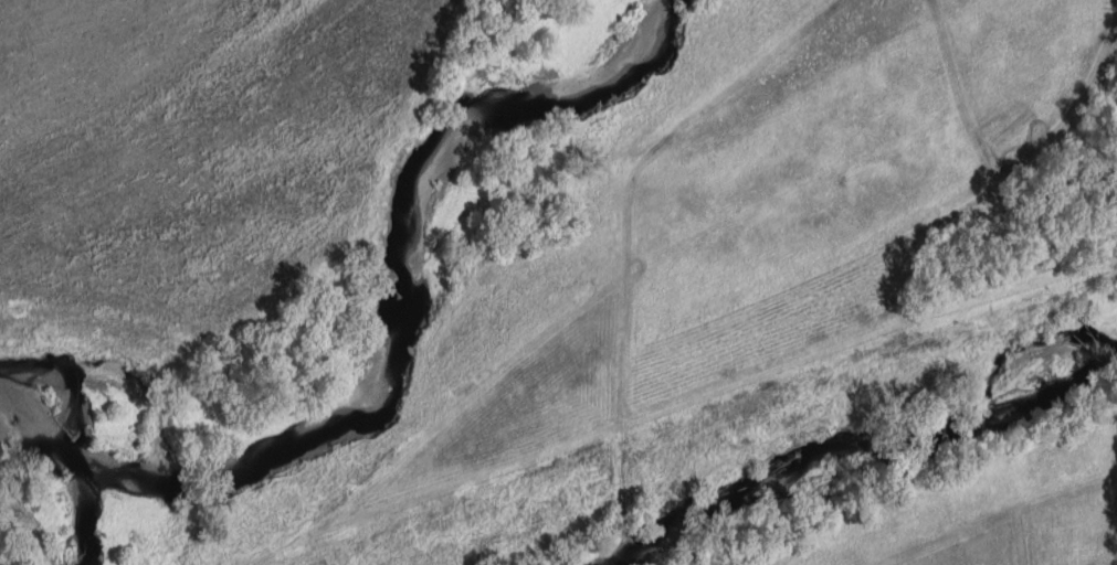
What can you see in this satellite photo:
power tower: (13, 352)
river: (389, 381)
river: (881, 458)
river: (89, 518)

